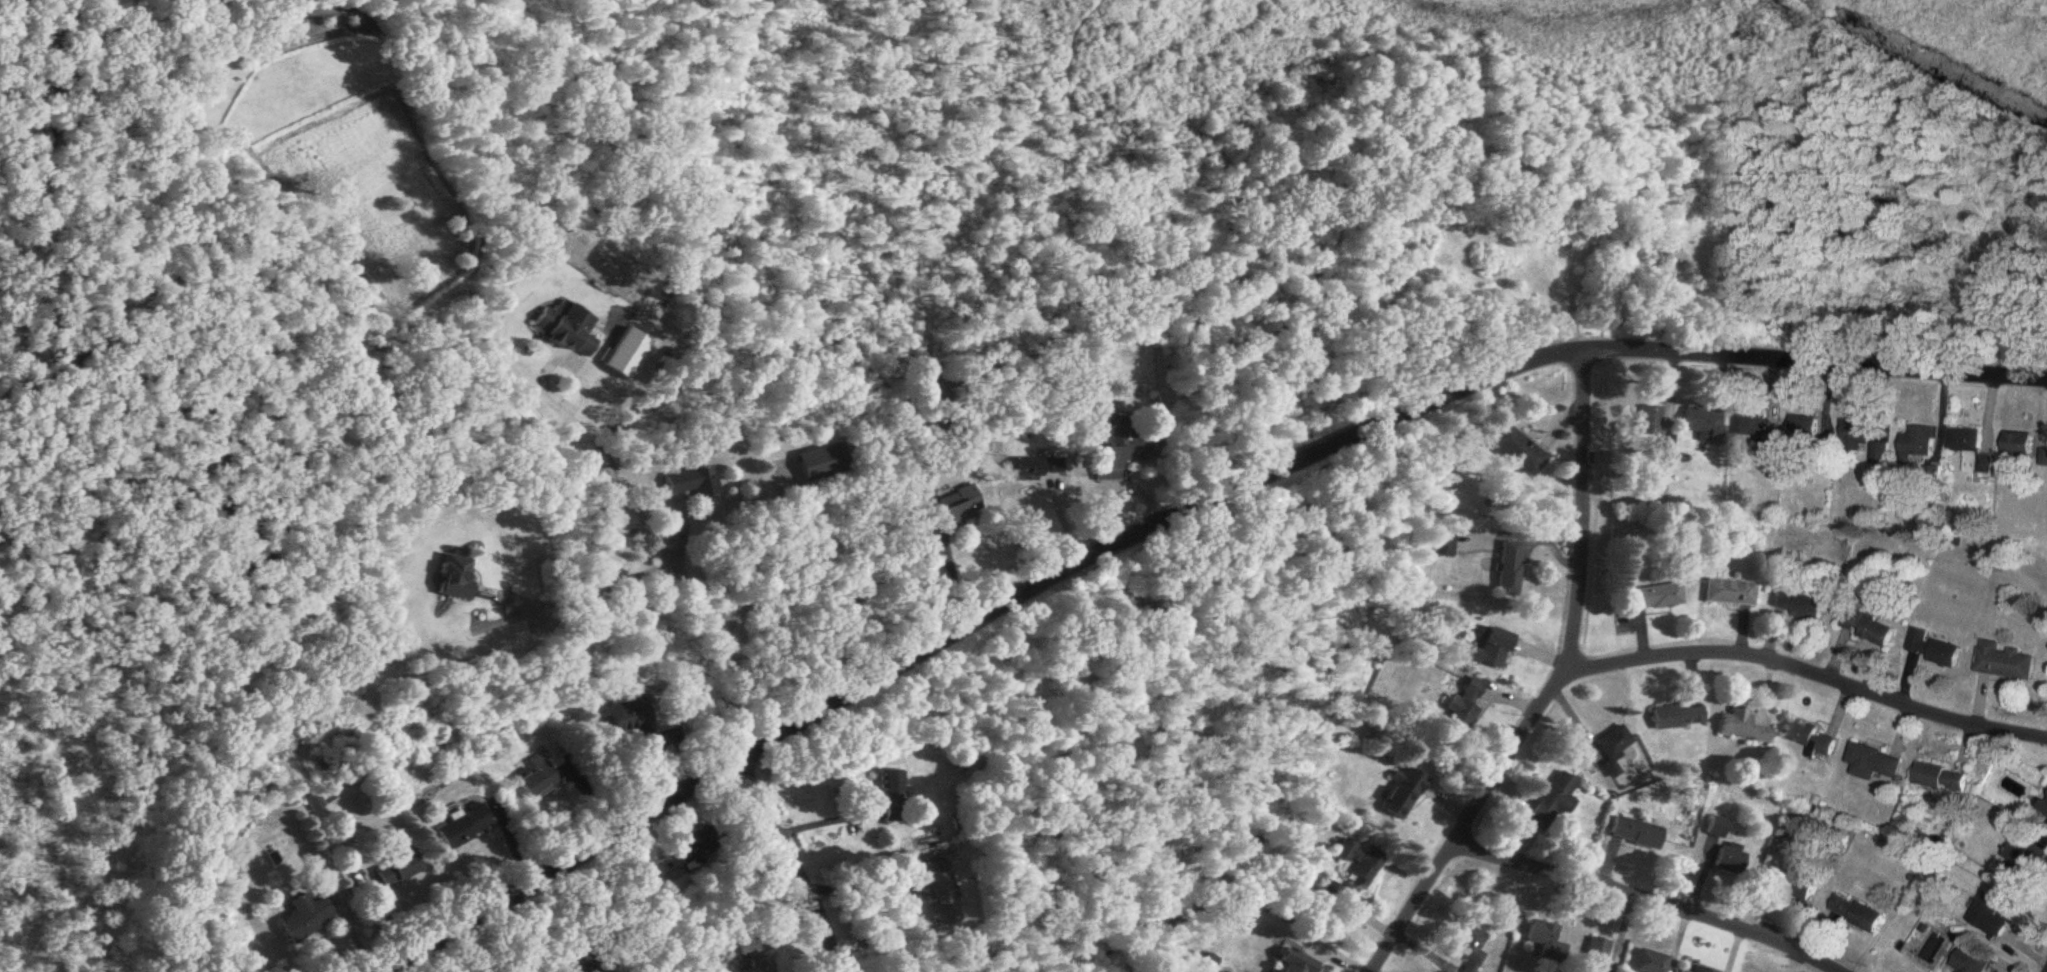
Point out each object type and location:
building: (567, 329)
building: (1649, 421)
building: (1752, 425)
building: (1703, 426)
building: (1806, 431)
building: (1857, 437)
building: (2020, 445)
building: (1920, 447)
building: (1518, 451)
building: (1972, 452)
building: (1118, 454)
building: (1881, 455)
building: (822, 463)
building: (1038, 468)
building: (691, 483)
road: (641, 509)
building: (957, 511)
road: (1177, 520)
building: (1442, 546)
building: (1510, 569)
building: (456, 577)
road: (574, 593)
building: (1729, 593)
building: (1648, 597)
building: (1800, 607)
building: (1868, 629)
building: (1489, 649)
building: (1933, 650)
building: (2006, 663)
road: (1807, 674)
road: (1554, 687)
building: (1464, 706)
building: (1678, 717)
building: (631, 719)
building: (1747, 728)
building: (1813, 741)
building: (1614, 749)
building: (1874, 764)
building: (1941, 778)
building: (537, 780)
building: (1402, 794)
building: (892, 797)
building: (1553, 804)
building: (2045, 809)
building: (462, 829)
building: (1718, 829)
building: (1637, 834)
building: (2026, 860)
building: (1731, 861)
building: (1359, 864)
road: (797, 865)
building: (398, 870)
building: (1792, 883)
building: (1331, 892)
building: (941, 893)
road: (1647, 901)
building: (1856, 914)
building: (1991, 916)
building: (308, 917)
building: (1541, 934)
building: (1471, 949)
building: (1596, 954)
building: (752, 956)
building: (1651, 962)
building: (1971, 962)
building: (1297, 964)
building: (1700, 970)

